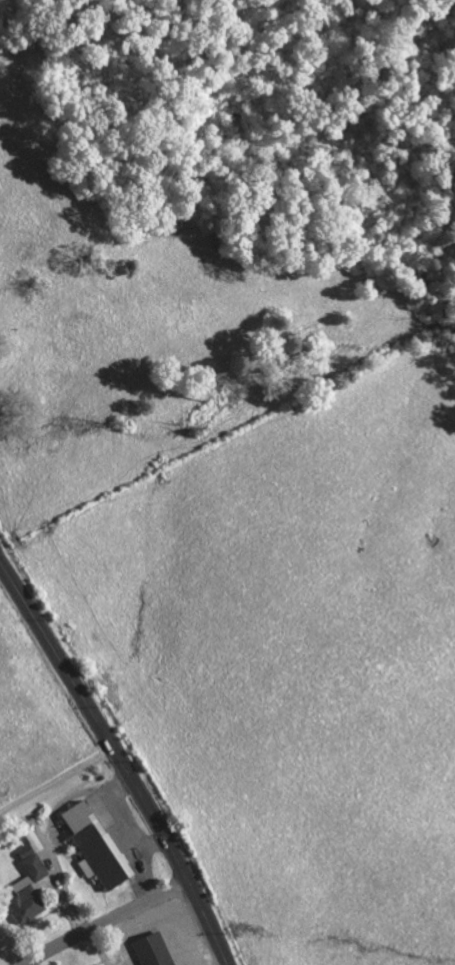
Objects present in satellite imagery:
road: (24, 603)
road: (59, 659)
road: (59, 777)
road: (156, 815)
building: (97, 843)
building: (29, 886)
road: (108, 921)
building: (156, 949)

